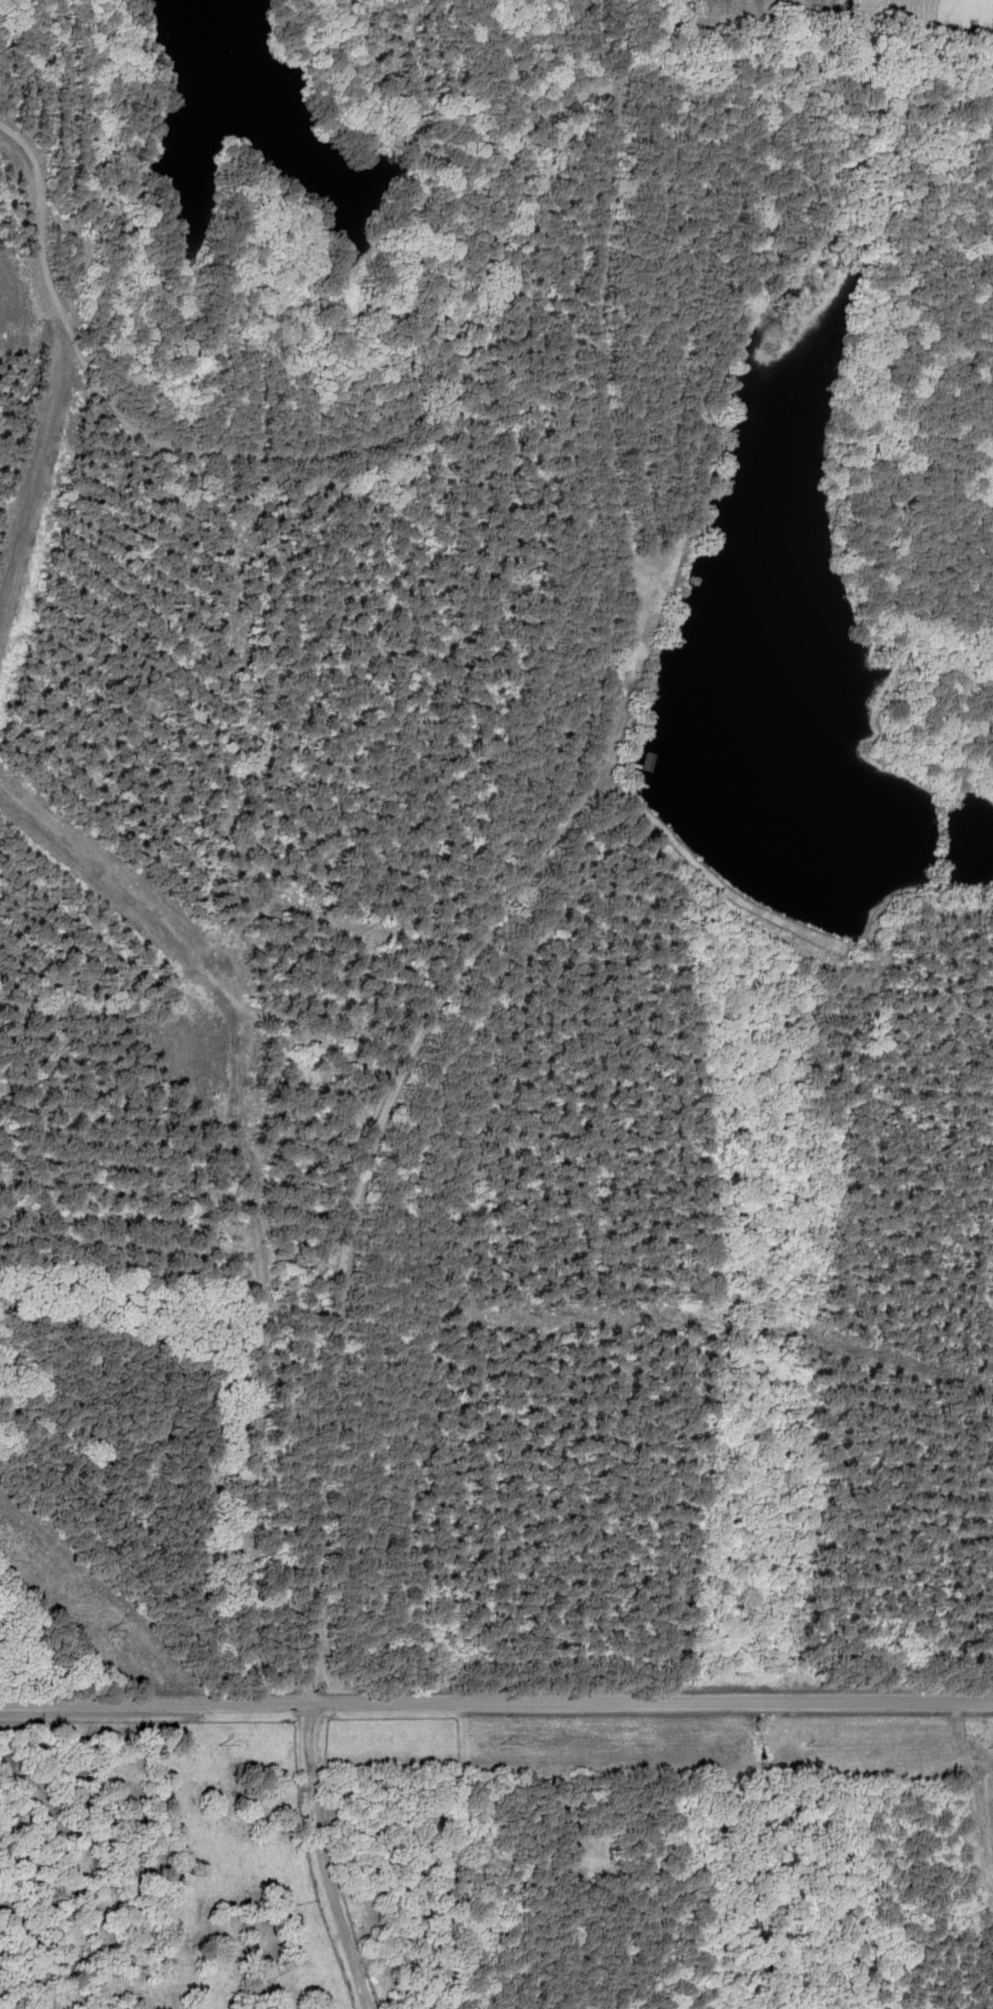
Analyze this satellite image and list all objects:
building: (649, 762)
road: (446, 993)
road: (496, 1700)

